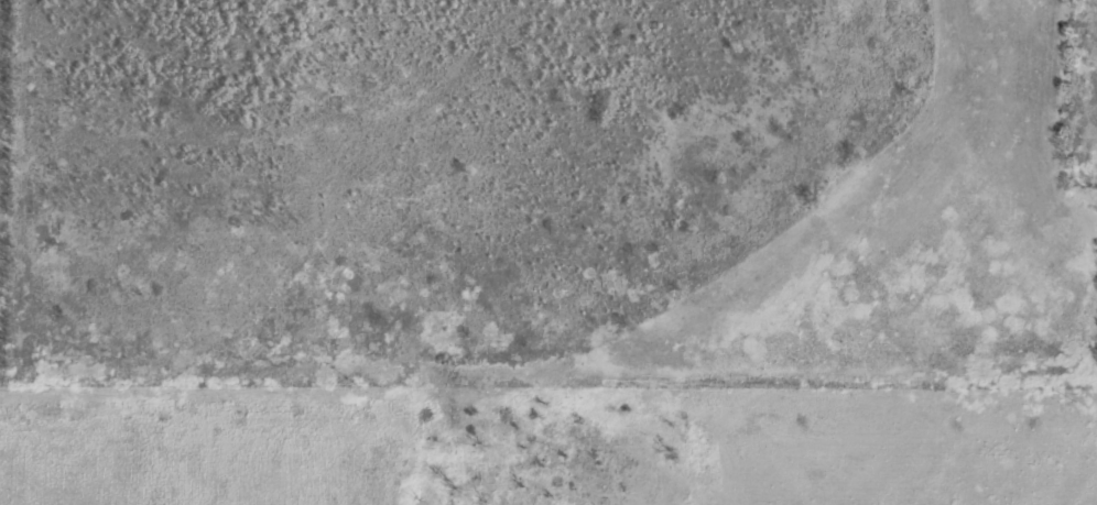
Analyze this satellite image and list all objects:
road: (1035, 52)
road: (354, 172)
road: (554, 366)

